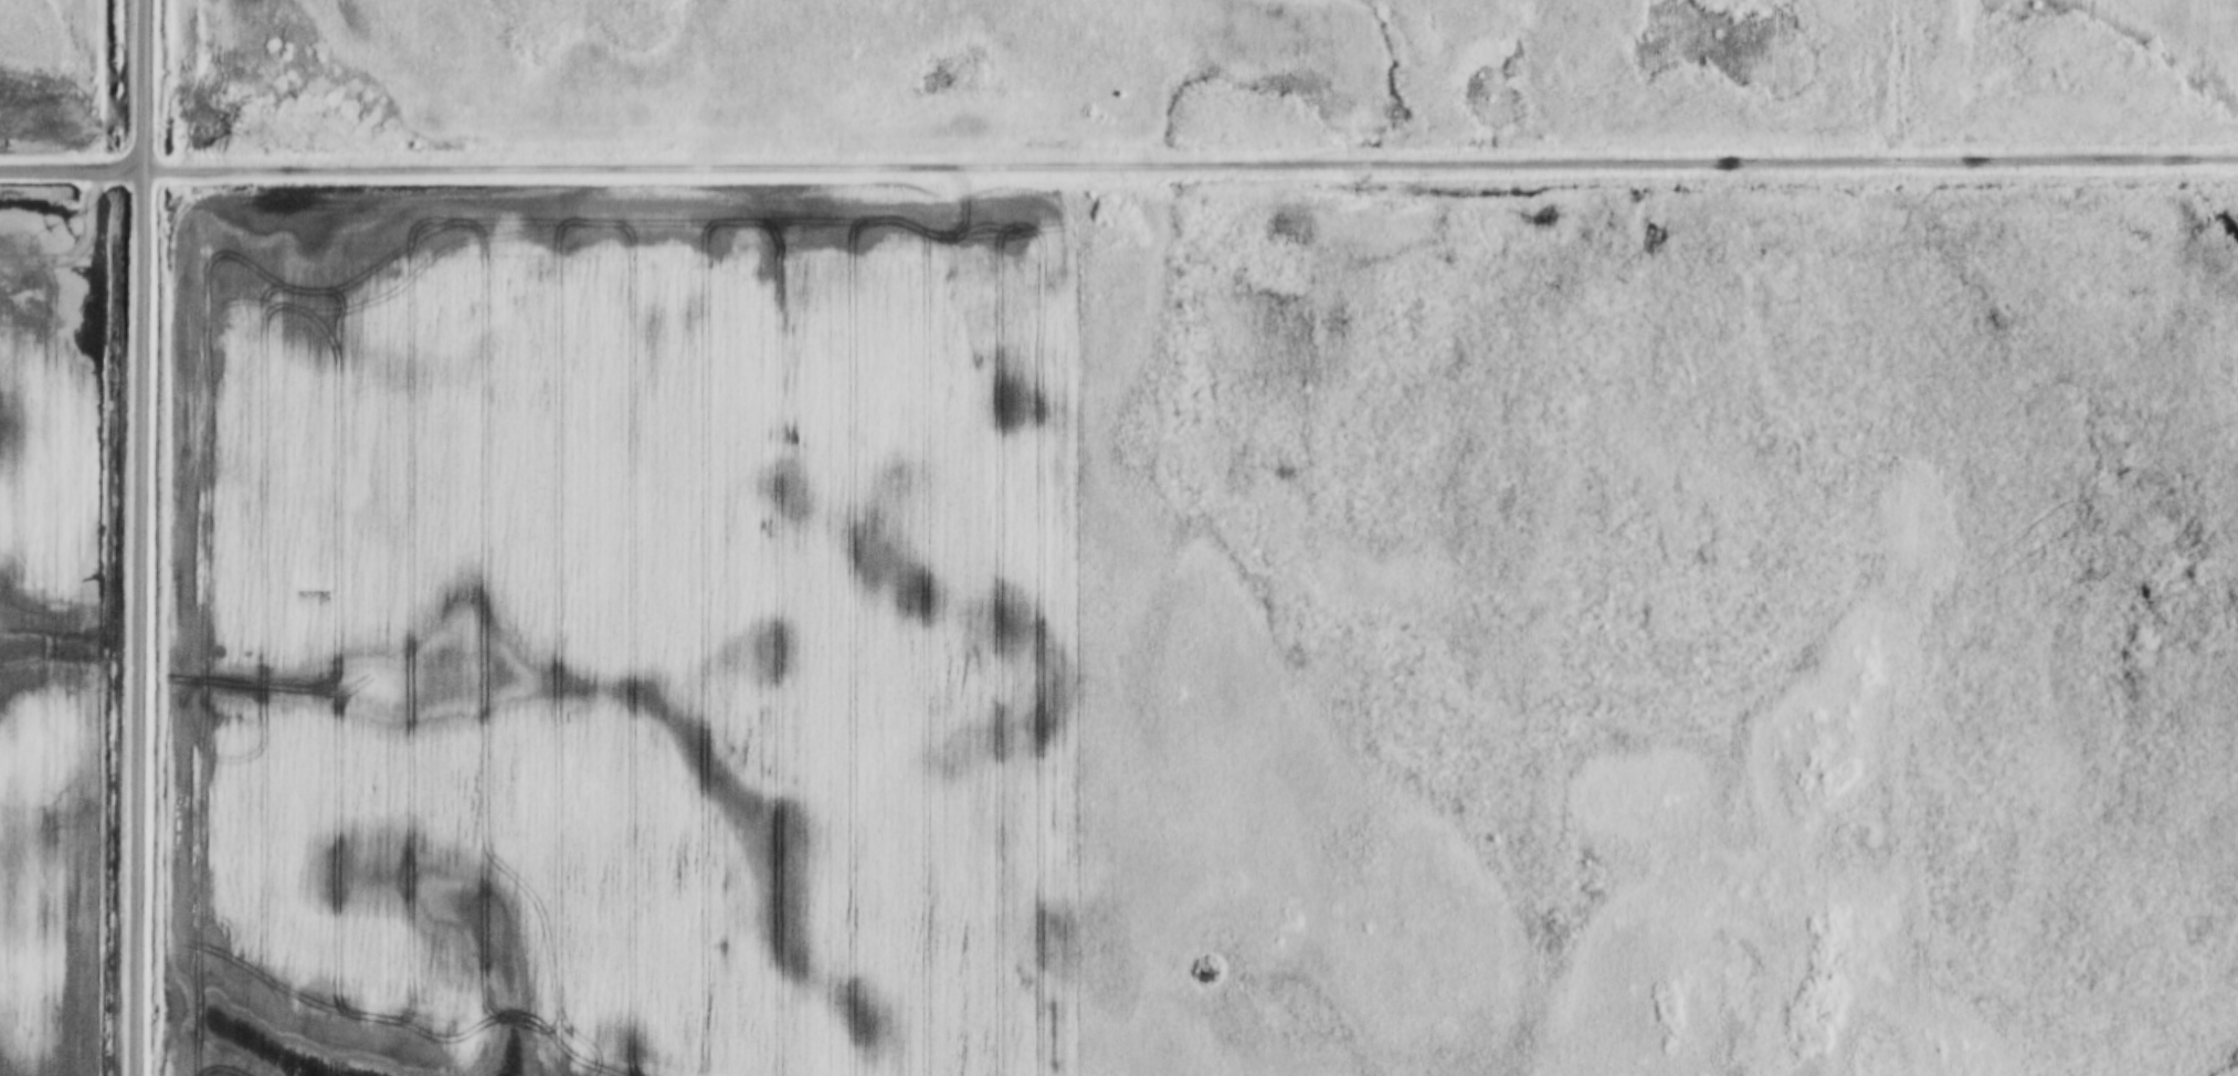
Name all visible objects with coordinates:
road: (1193, 165)
road: (74, 170)
road: (145, 537)

